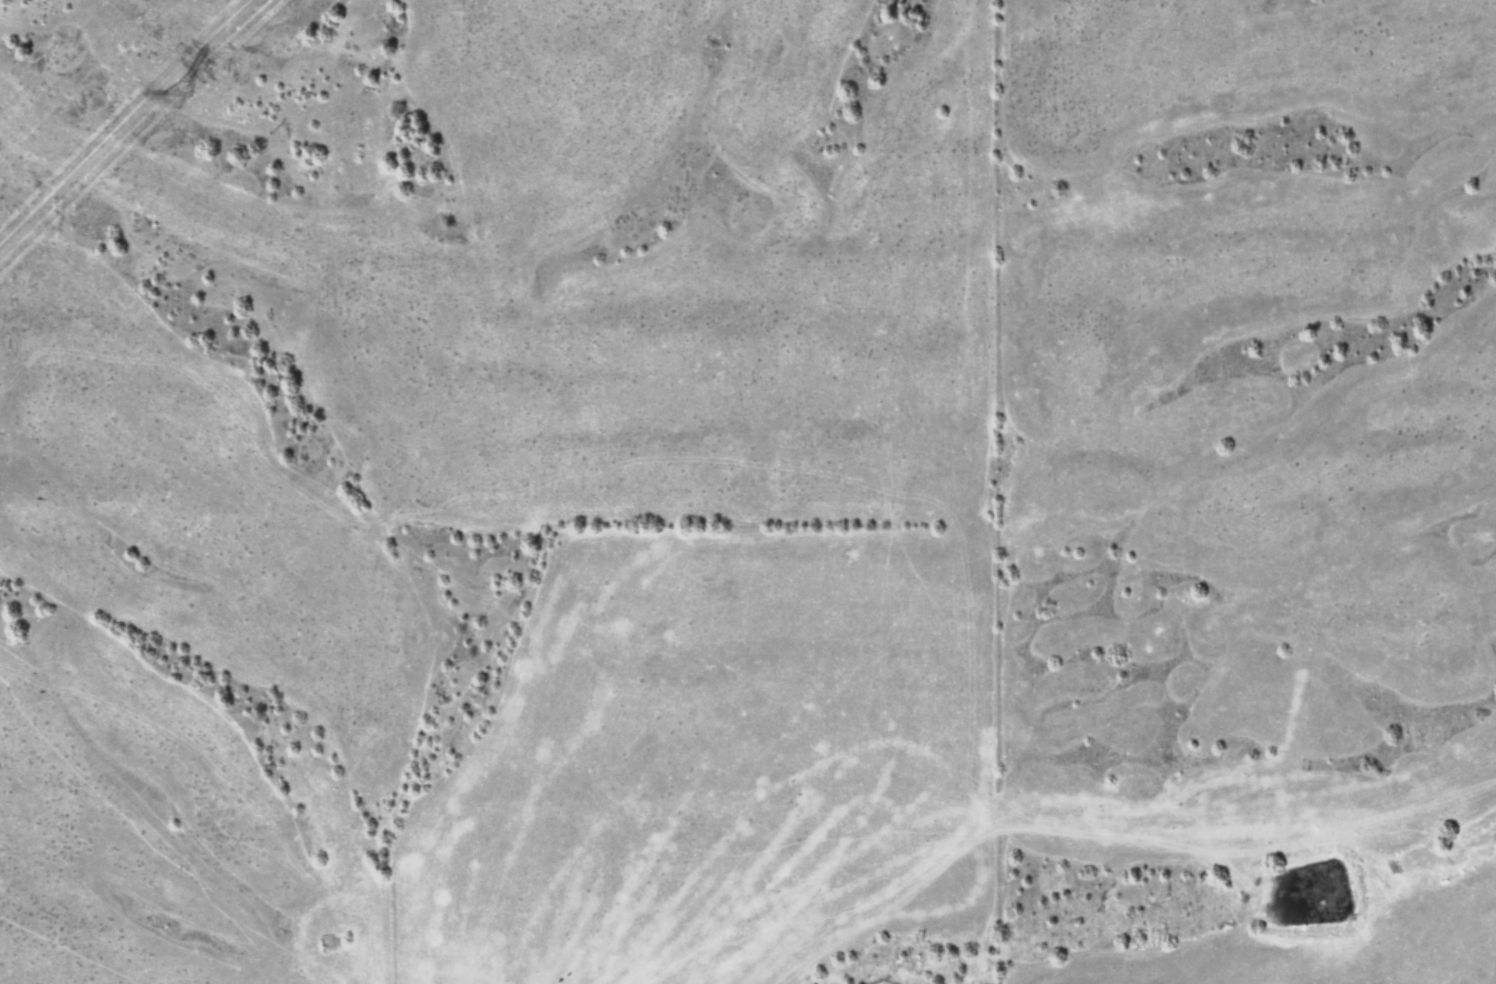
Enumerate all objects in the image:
power tower: (178, 91)

